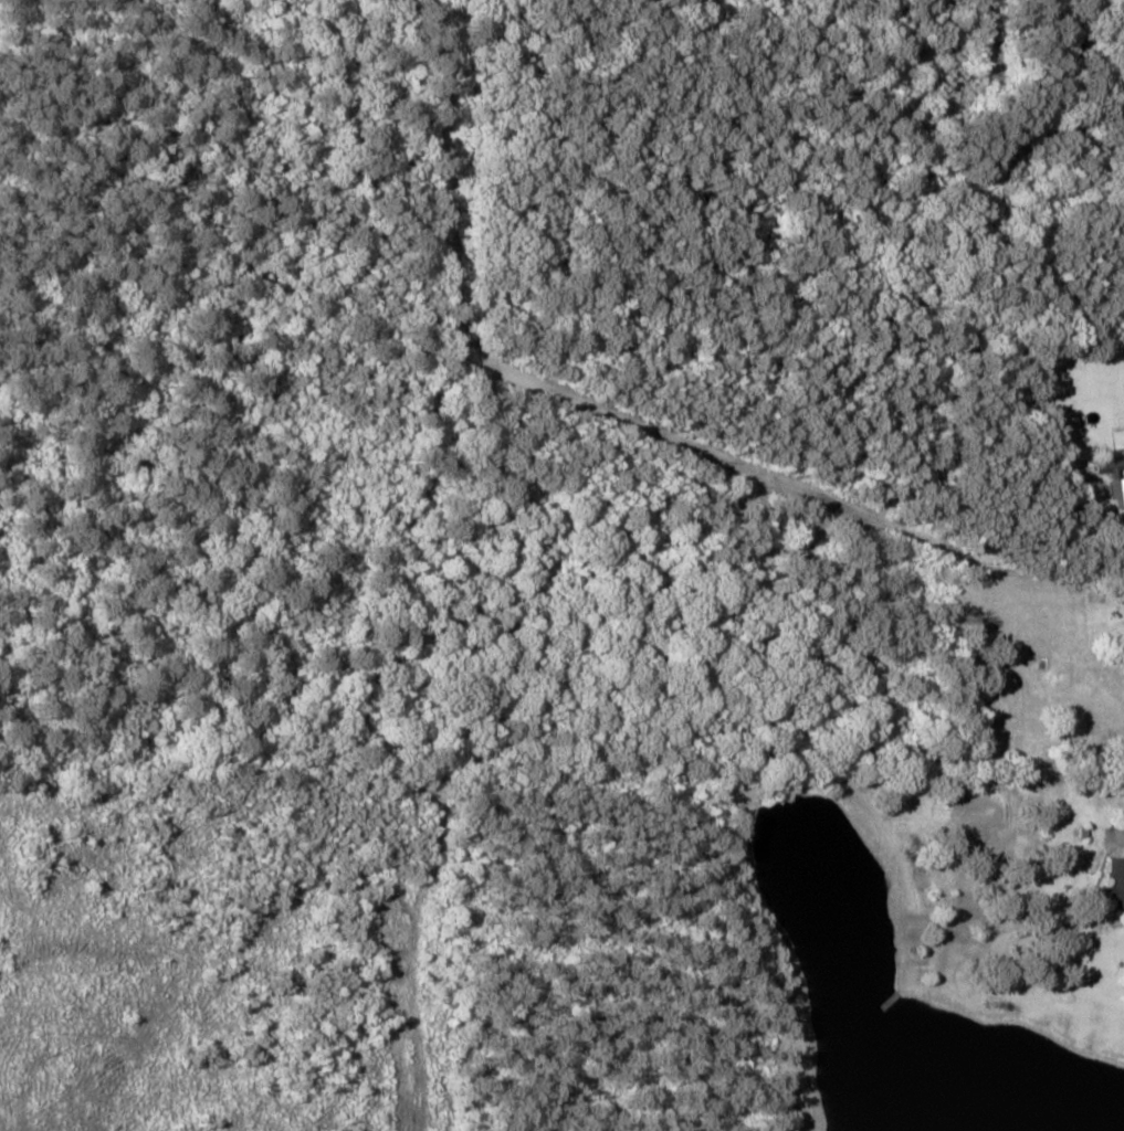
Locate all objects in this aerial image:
road: (1067, 67)
building: (1117, 493)
building: (1115, 885)

